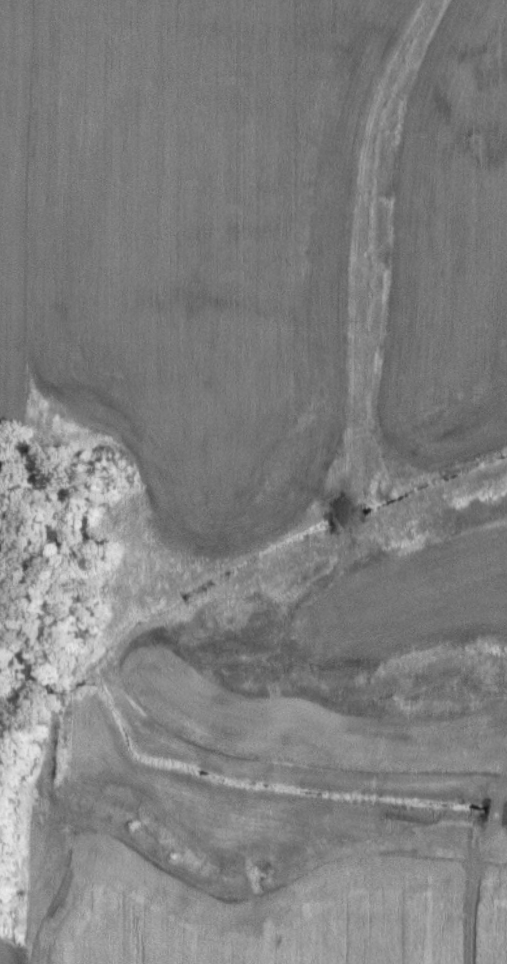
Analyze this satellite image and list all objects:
road: (487, 919)

